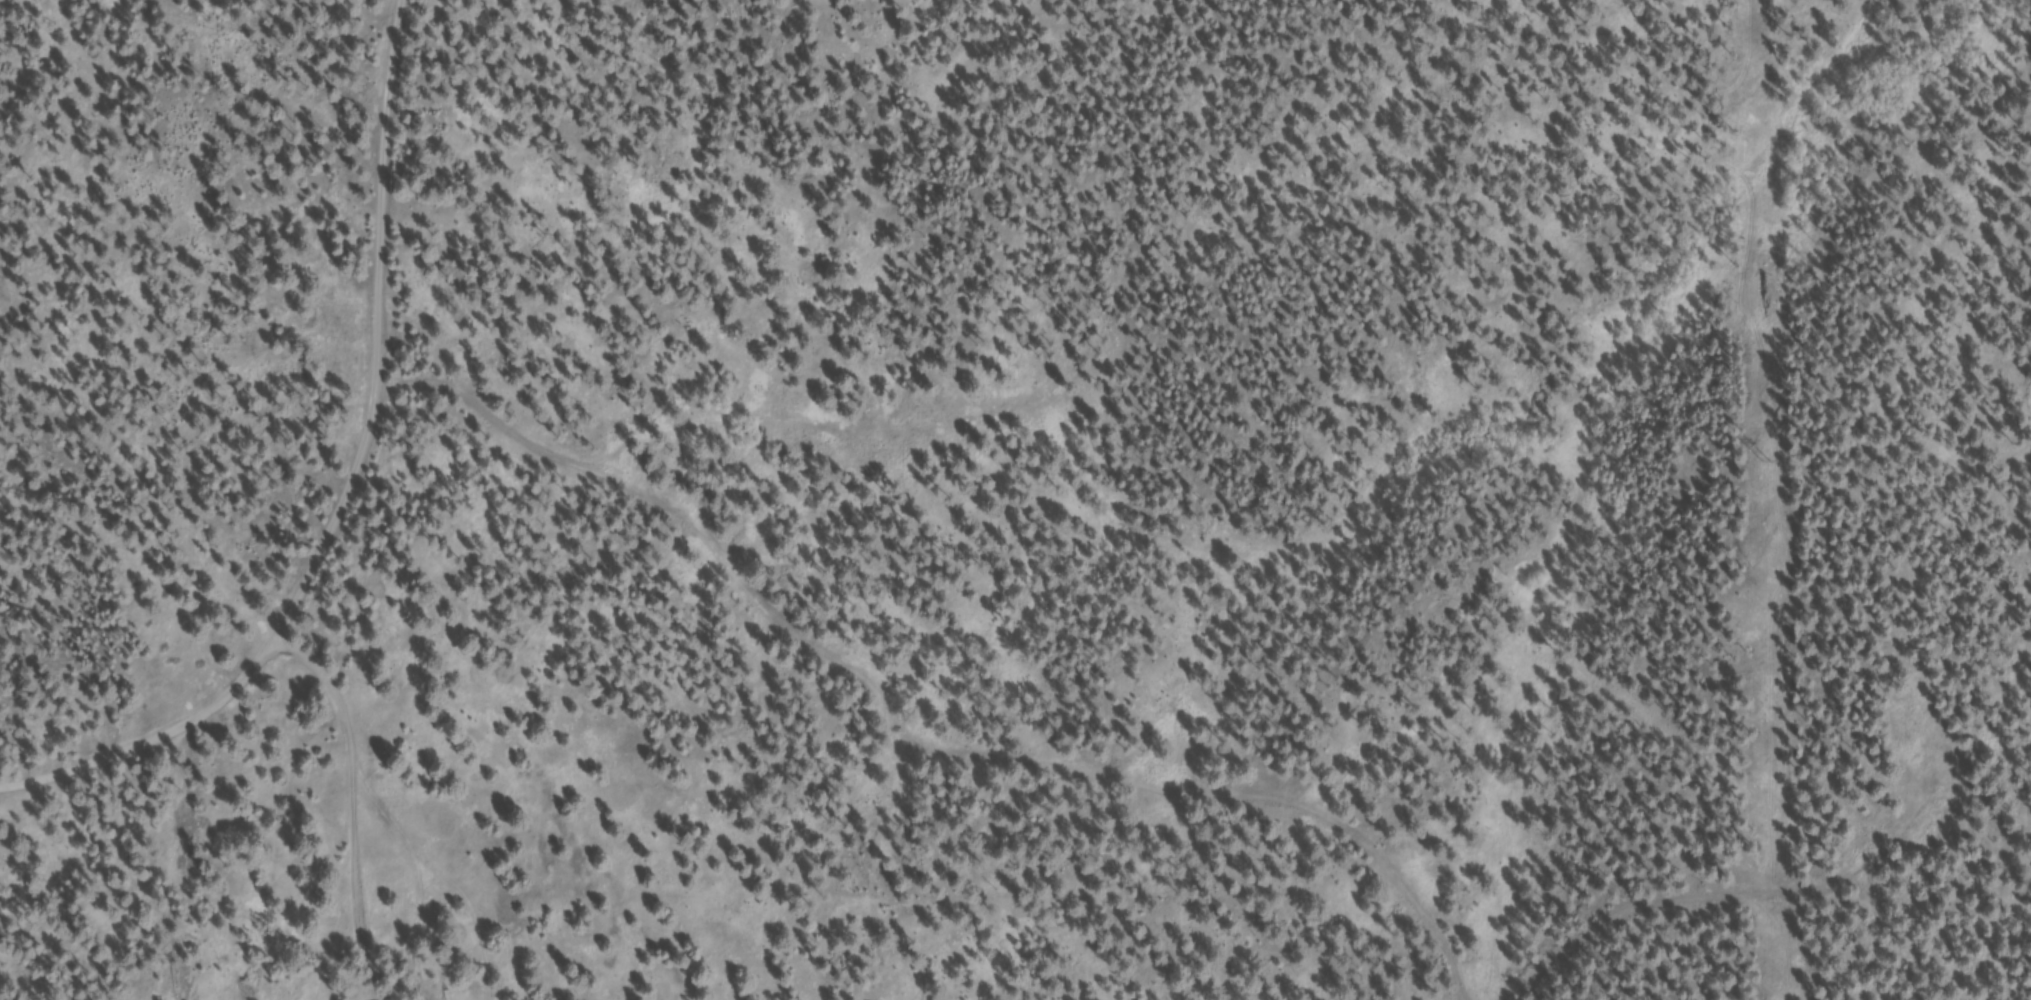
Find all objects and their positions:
road: (361, 493)

